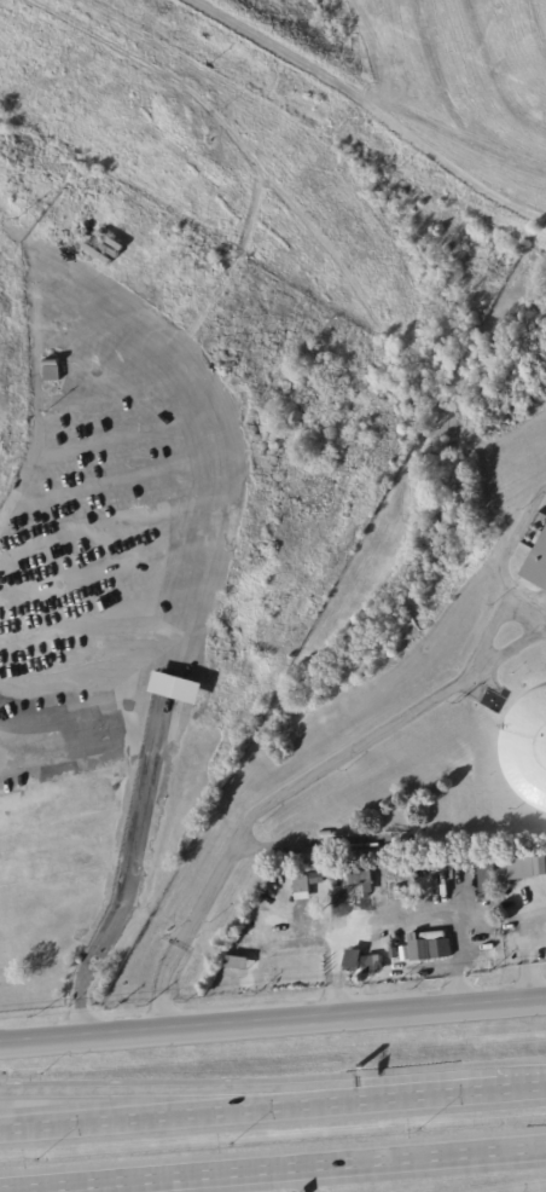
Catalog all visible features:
landfill: (412, 74)
road: (368, 109)
building: (53, 370)
landfill: (164, 456)
building: (539, 567)
building: (180, 689)
storage tank: (529, 746)
road: (353, 747)
building: (527, 867)
building: (504, 869)
road: (130, 881)
building: (301, 887)
road: (397, 920)
building: (428, 944)
road: (525, 953)
road: (273, 1023)
road: (176, 1087)
road: (449, 1087)
road: (176, 1109)
road: (284, 1170)
road: (533, 1190)

